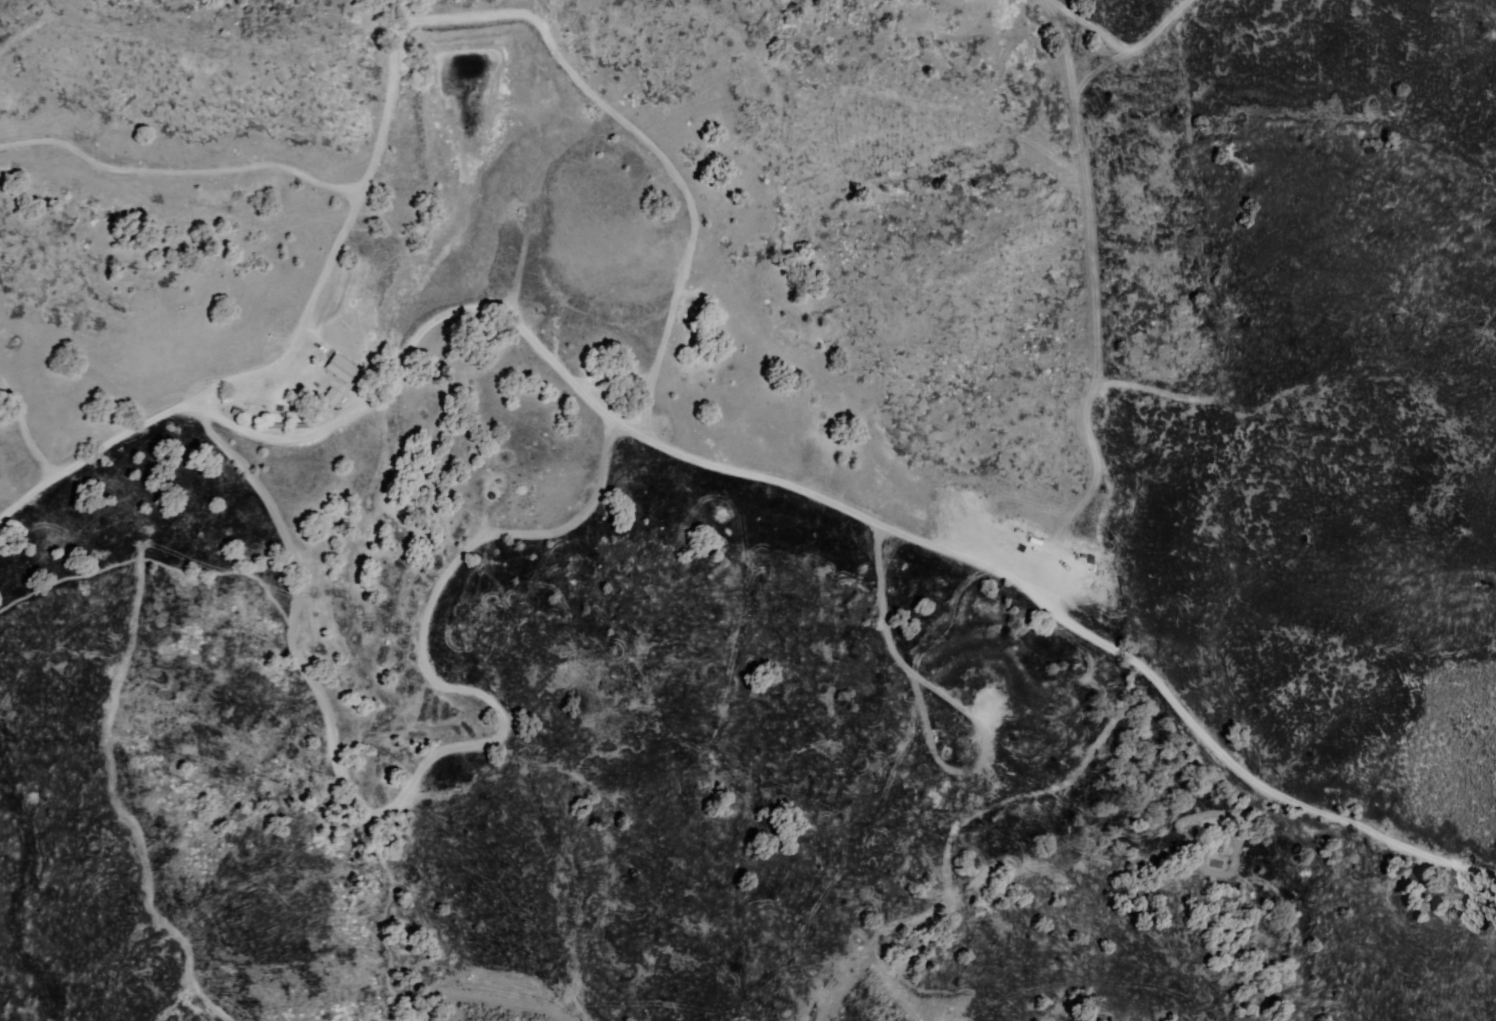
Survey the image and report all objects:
road: (296, 337)
building: (341, 368)
building: (305, 380)
building: (330, 396)
building: (287, 423)
road: (808, 499)
building: (1035, 543)

